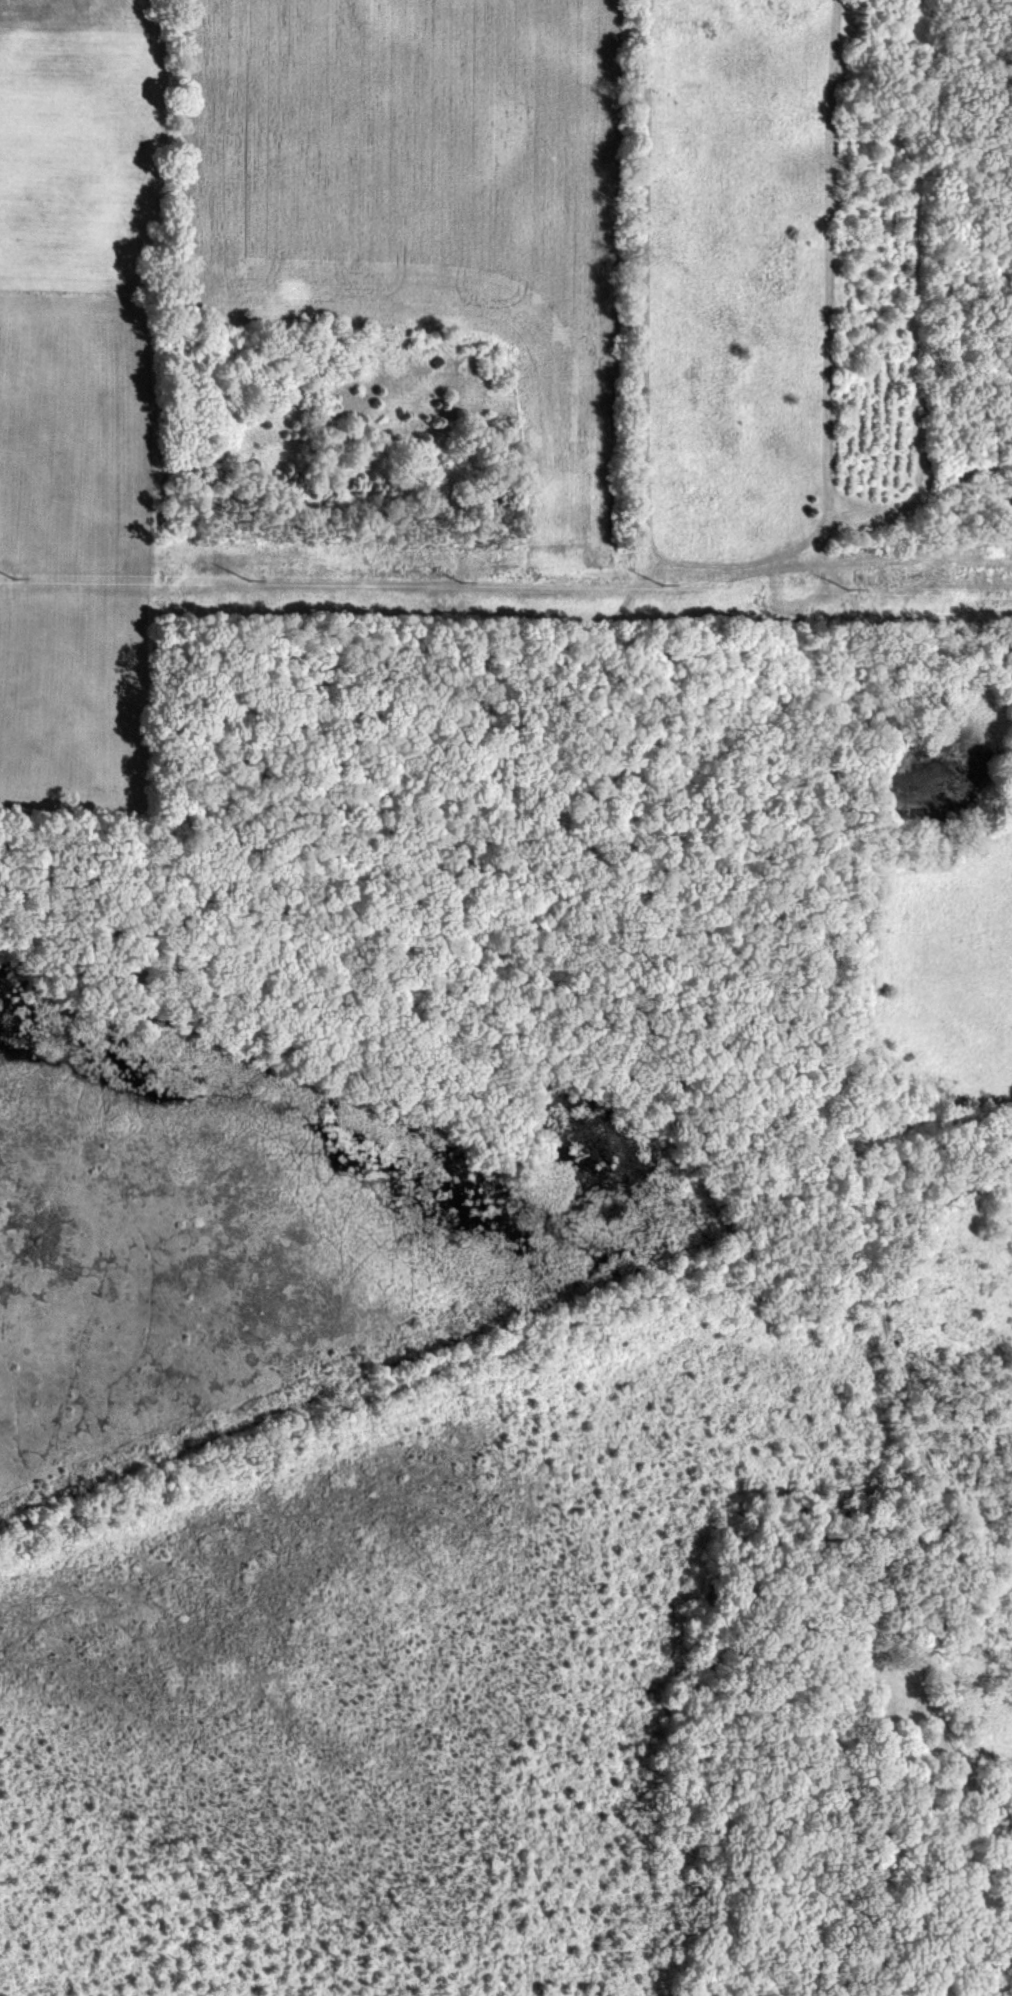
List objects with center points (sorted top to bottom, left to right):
road: (889, 1336)
road: (933, 1705)

